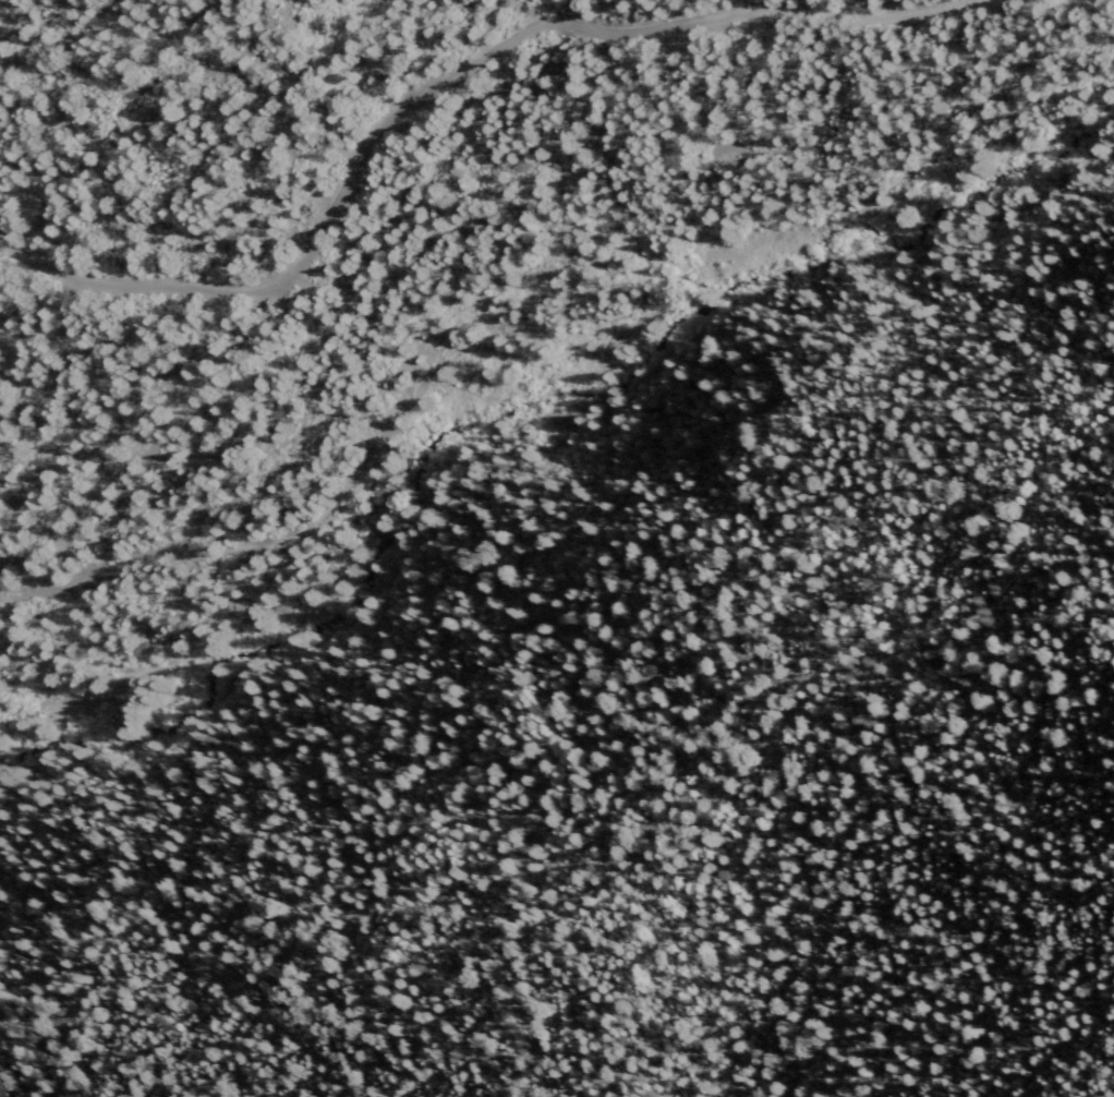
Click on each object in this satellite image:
road: (287, 153)

